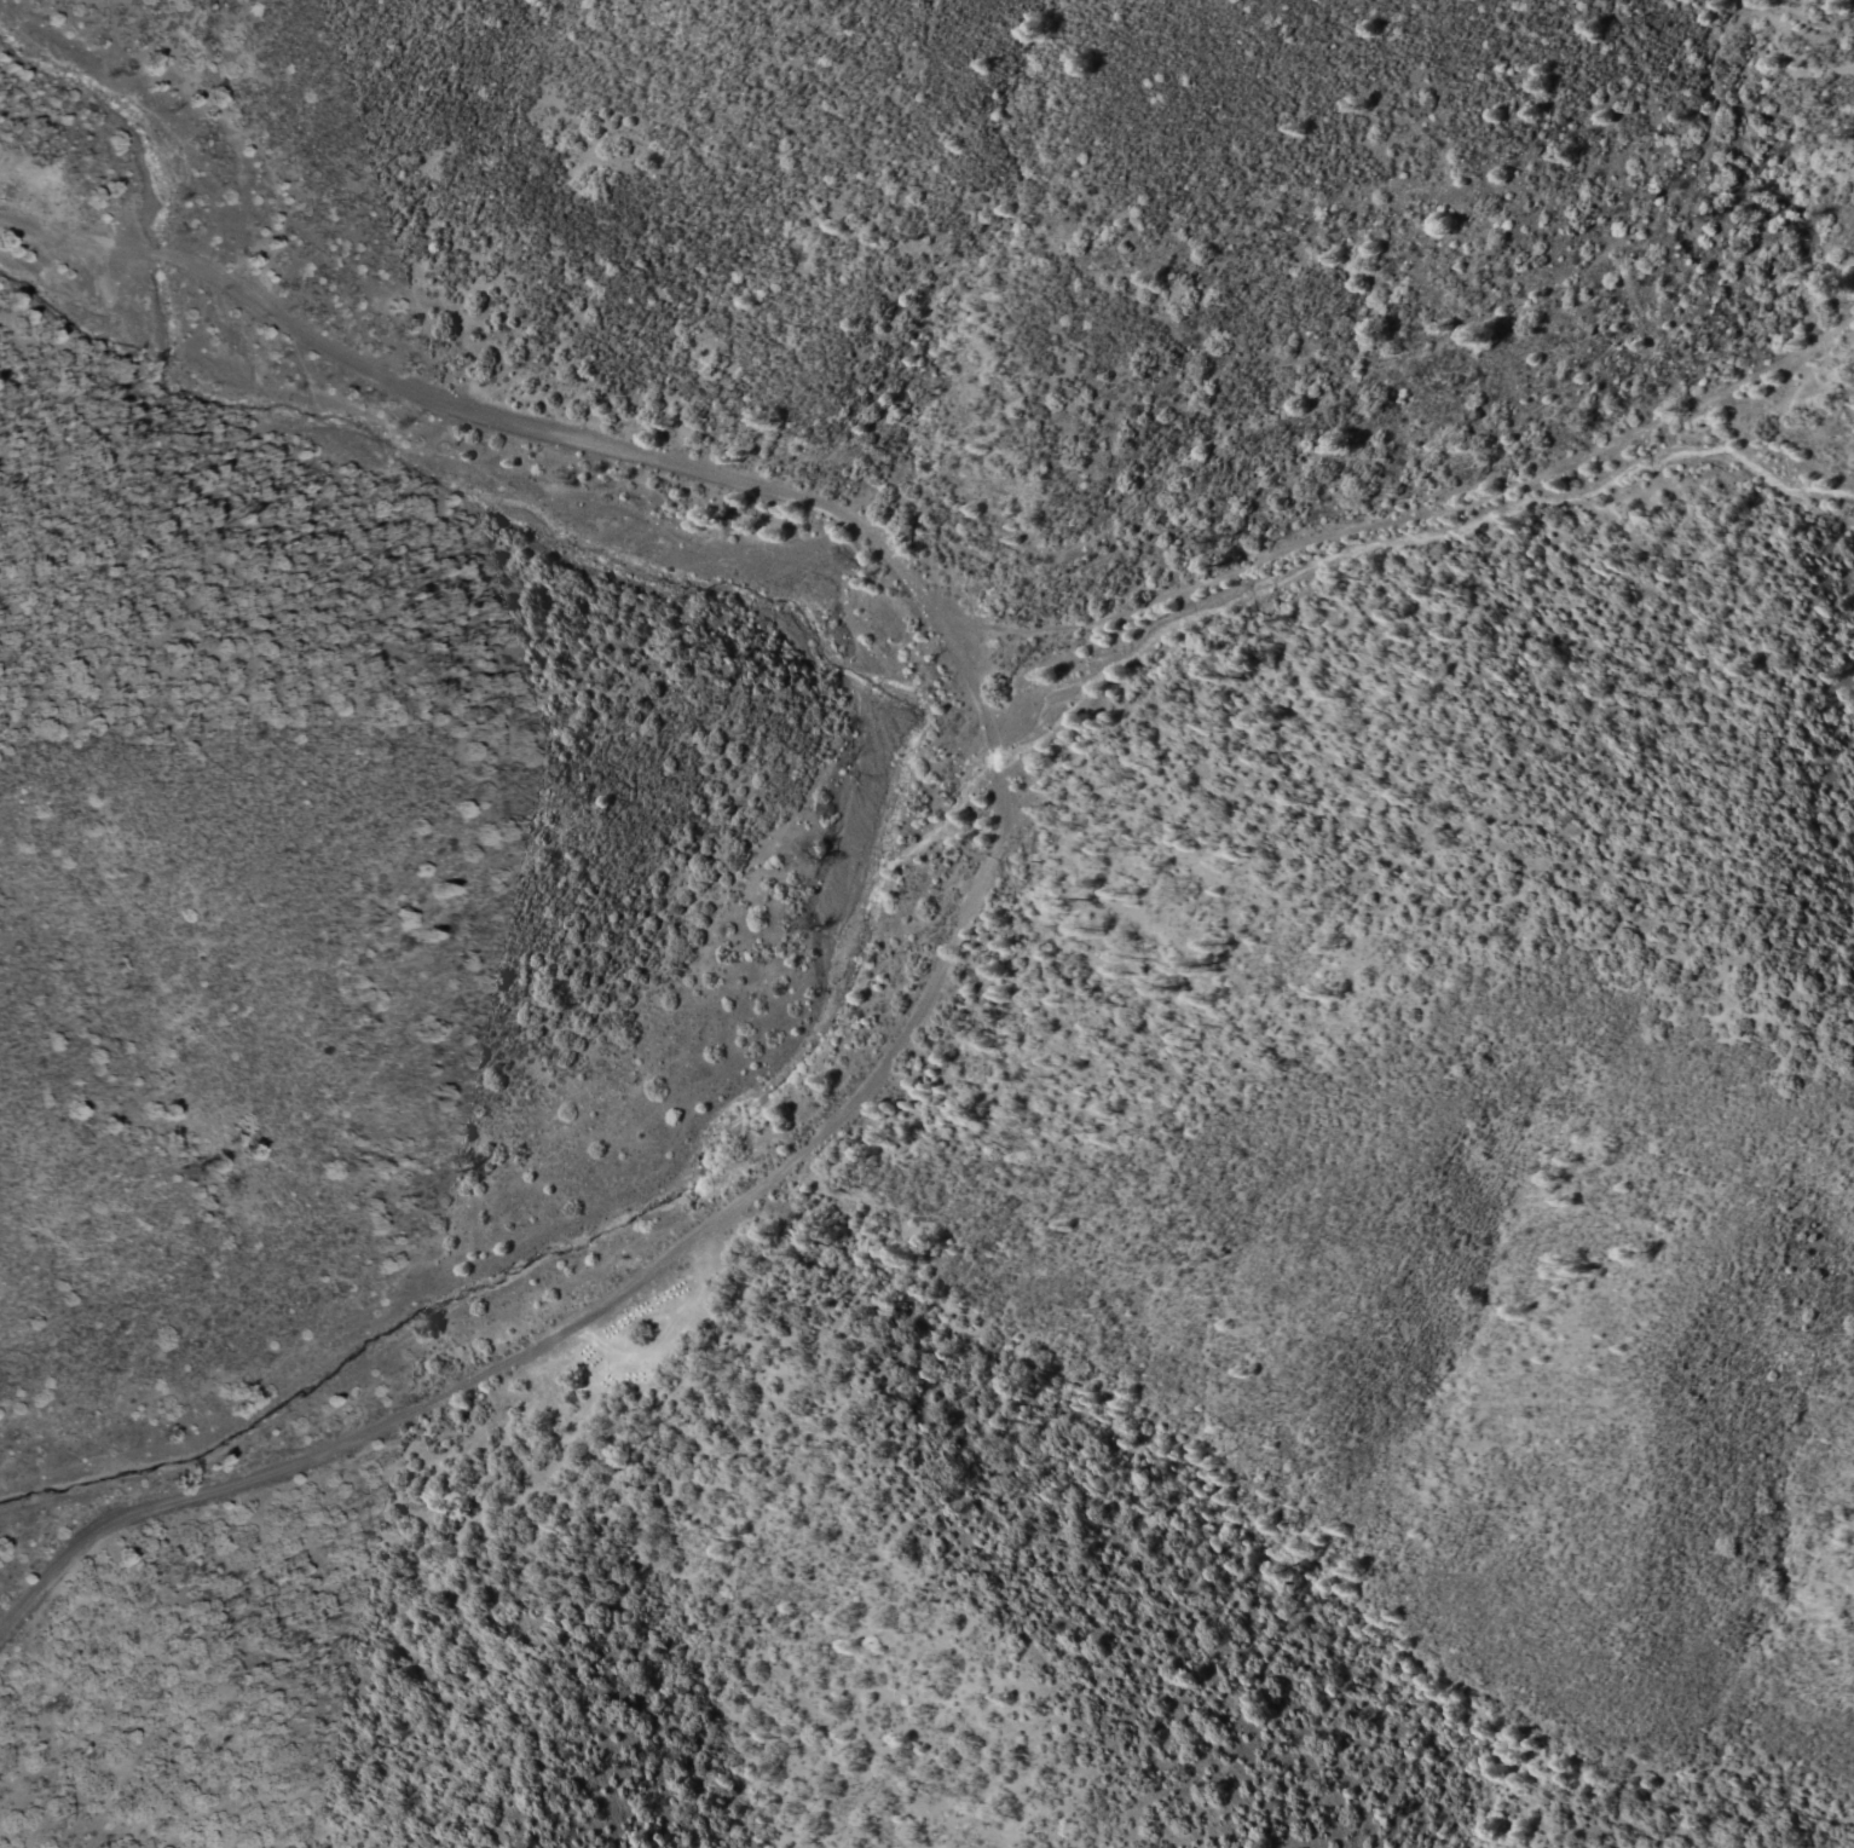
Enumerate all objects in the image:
road: (1423, 536)
road: (987, 882)

